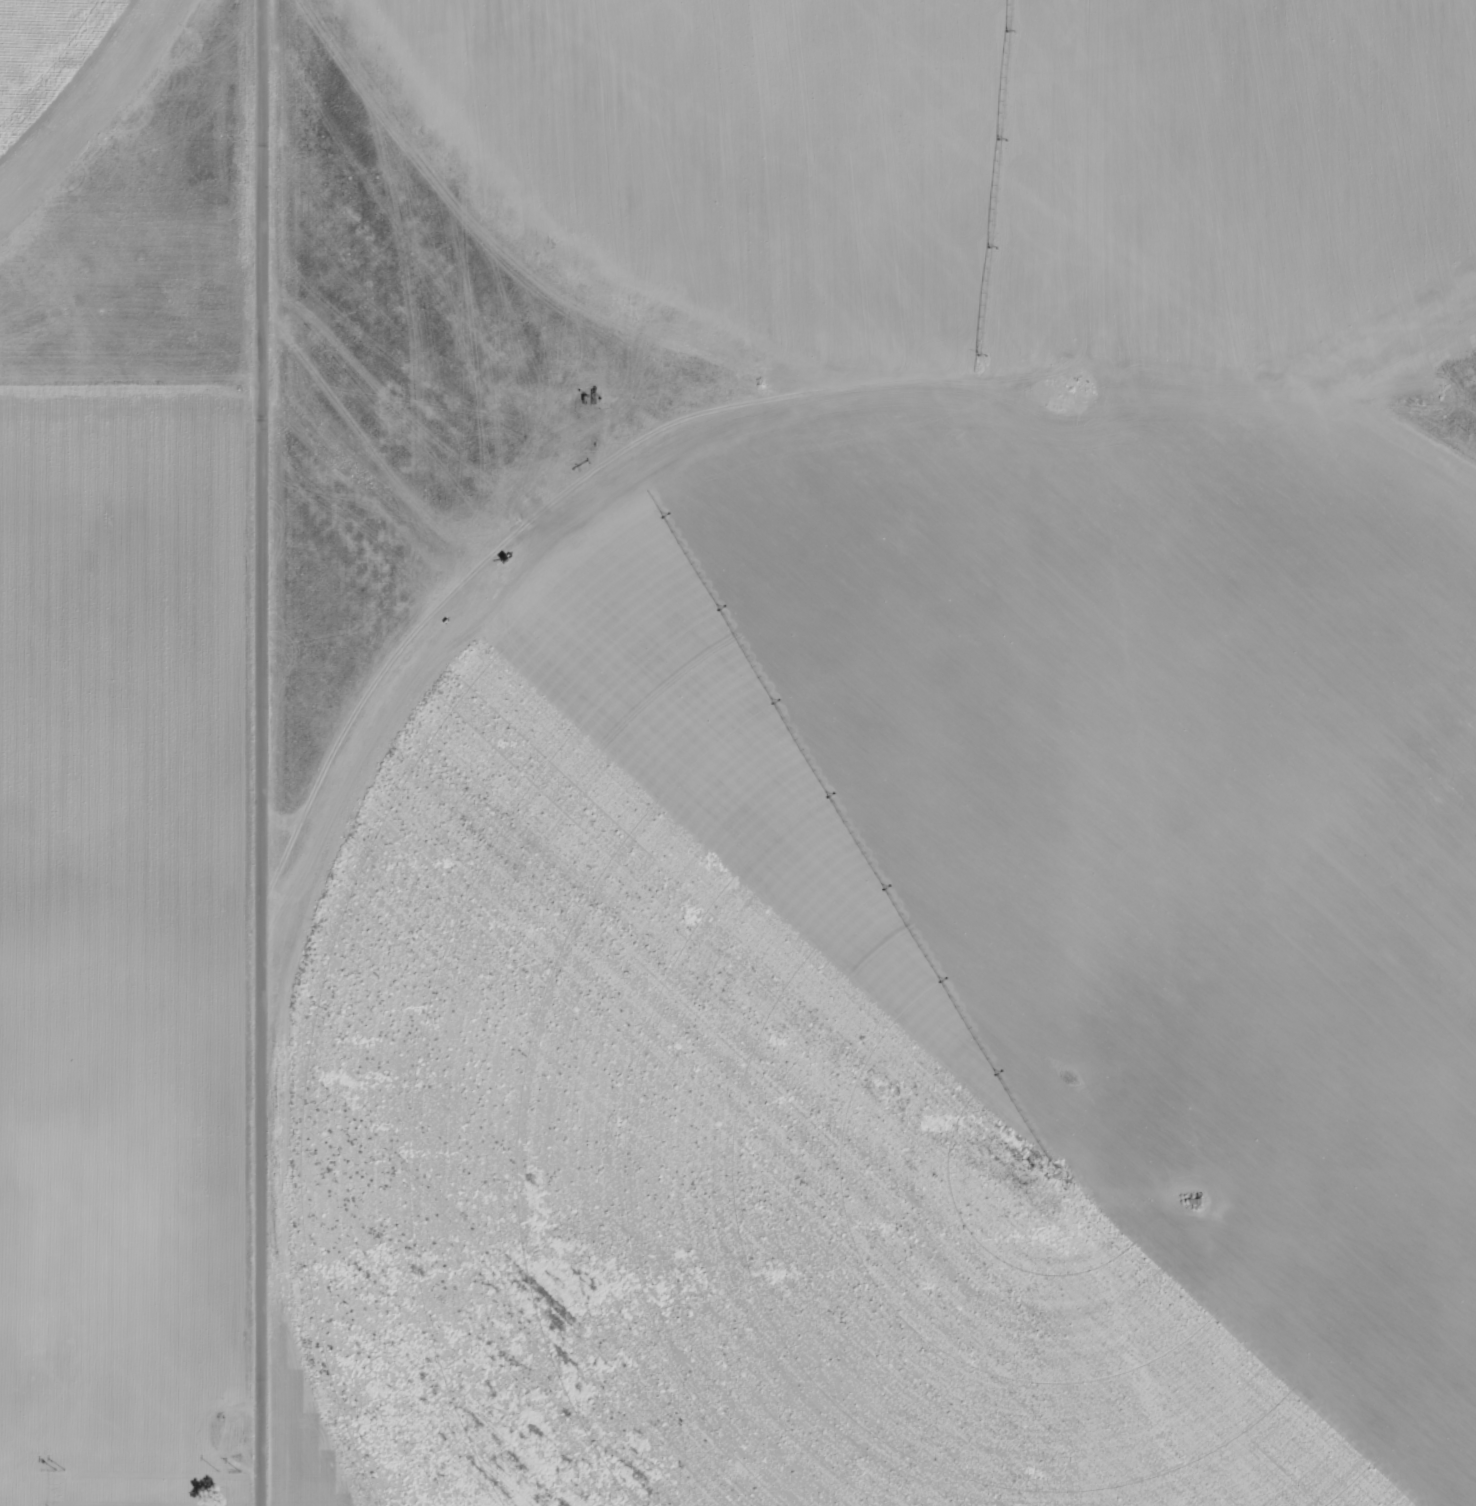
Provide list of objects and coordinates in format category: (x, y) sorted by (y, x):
road: (679, 431)
road: (285, 752)
road: (142, 982)

